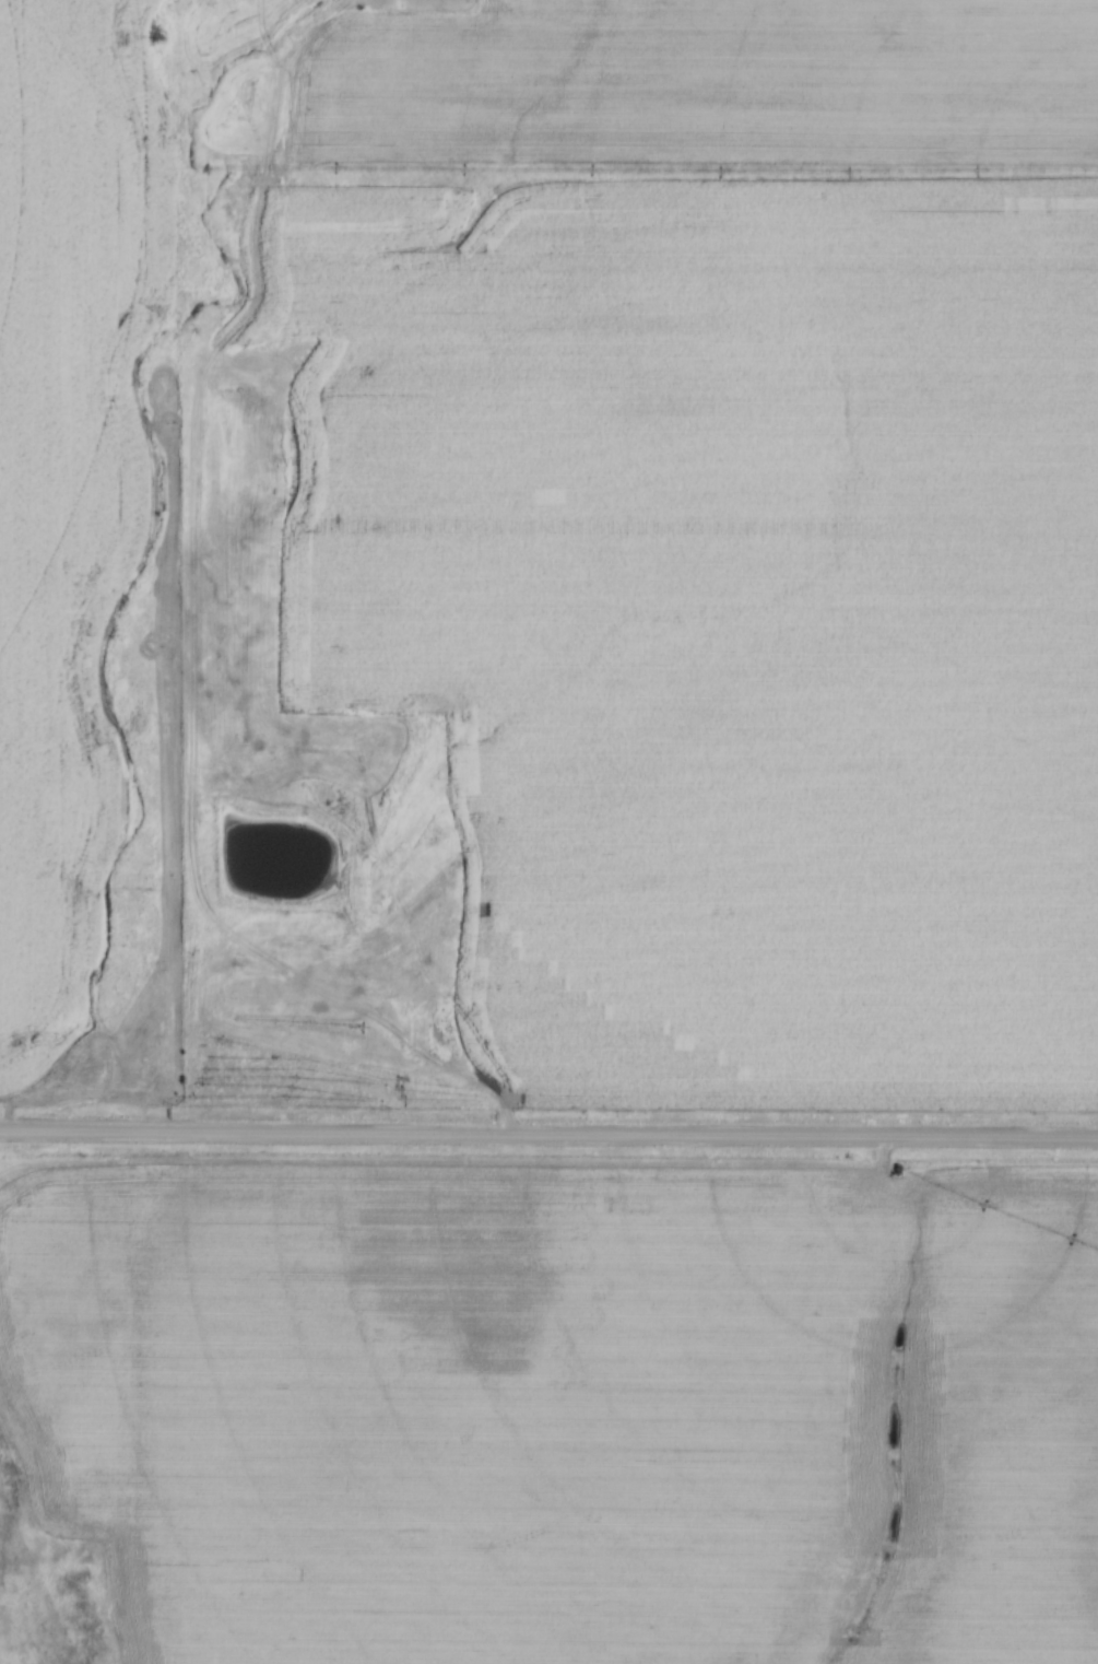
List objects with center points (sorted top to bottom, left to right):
road: (548, 1140)

